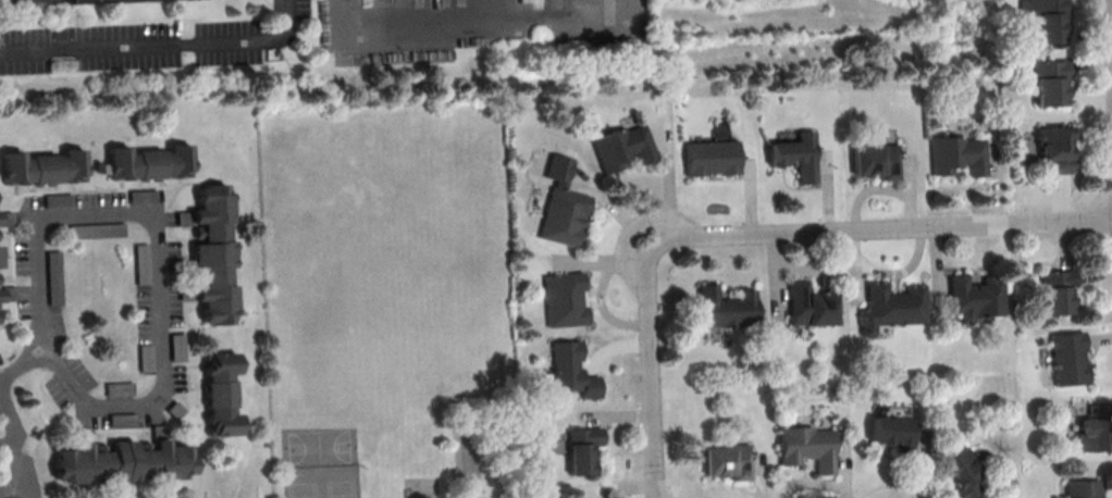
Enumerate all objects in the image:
building: (48, 2)
road: (571, 11)
road: (419, 17)
building: (1046, 20)
road: (157, 43)
building: (1048, 80)
building: (622, 146)
building: (1053, 149)
building: (955, 153)
building: (708, 157)
building: (793, 157)
building: (874, 160)
building: (150, 162)
building: (44, 166)
building: (558, 167)
building: (143, 196)
building: (58, 200)
building: (565, 215)
road: (888, 227)
building: (97, 229)
building: (212, 253)
road: (159, 258)
building: (0, 259)
building: (141, 263)
building: (54, 276)
building: (1054, 291)
building: (0, 297)
building: (974, 297)
building: (565, 299)
building: (890, 303)
building: (806, 304)
building: (725, 307)
building: (177, 347)
building: (145, 357)
building: (1067, 358)
road: (22, 365)
road: (651, 365)
building: (571, 370)
building: (119, 389)
building: (221, 393)
building: (122, 420)
road: (13, 428)
building: (1094, 428)
building: (889, 432)
park: (318, 447)
building: (804, 447)
building: (581, 448)
road: (10, 455)
building: (726, 460)
building: (122, 461)
building: (959, 473)
road: (26, 480)
park: (320, 482)
road: (13, 488)
building: (1082, 488)

